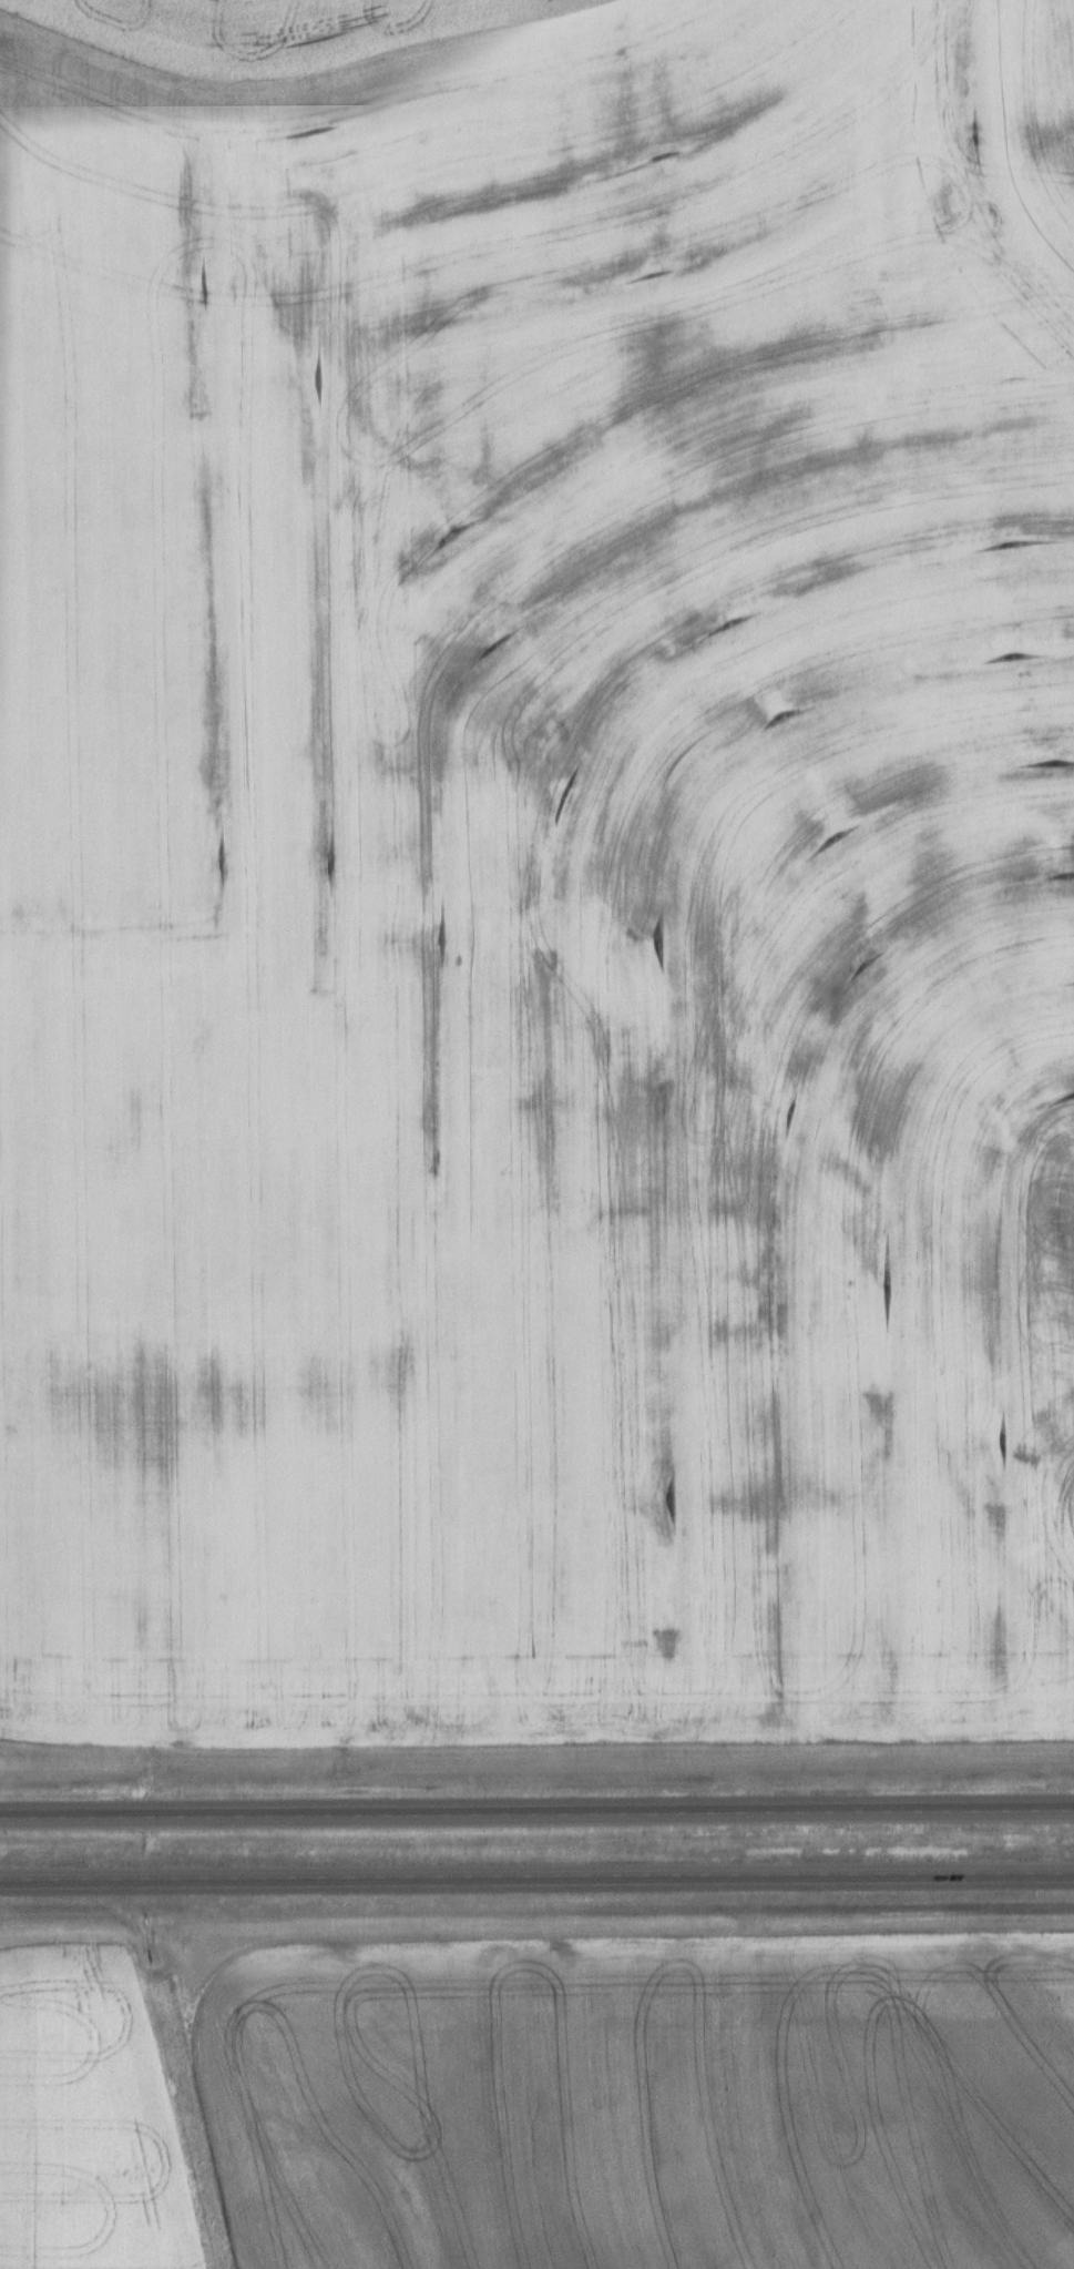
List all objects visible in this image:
road: (536, 1810)
road: (536, 1880)

